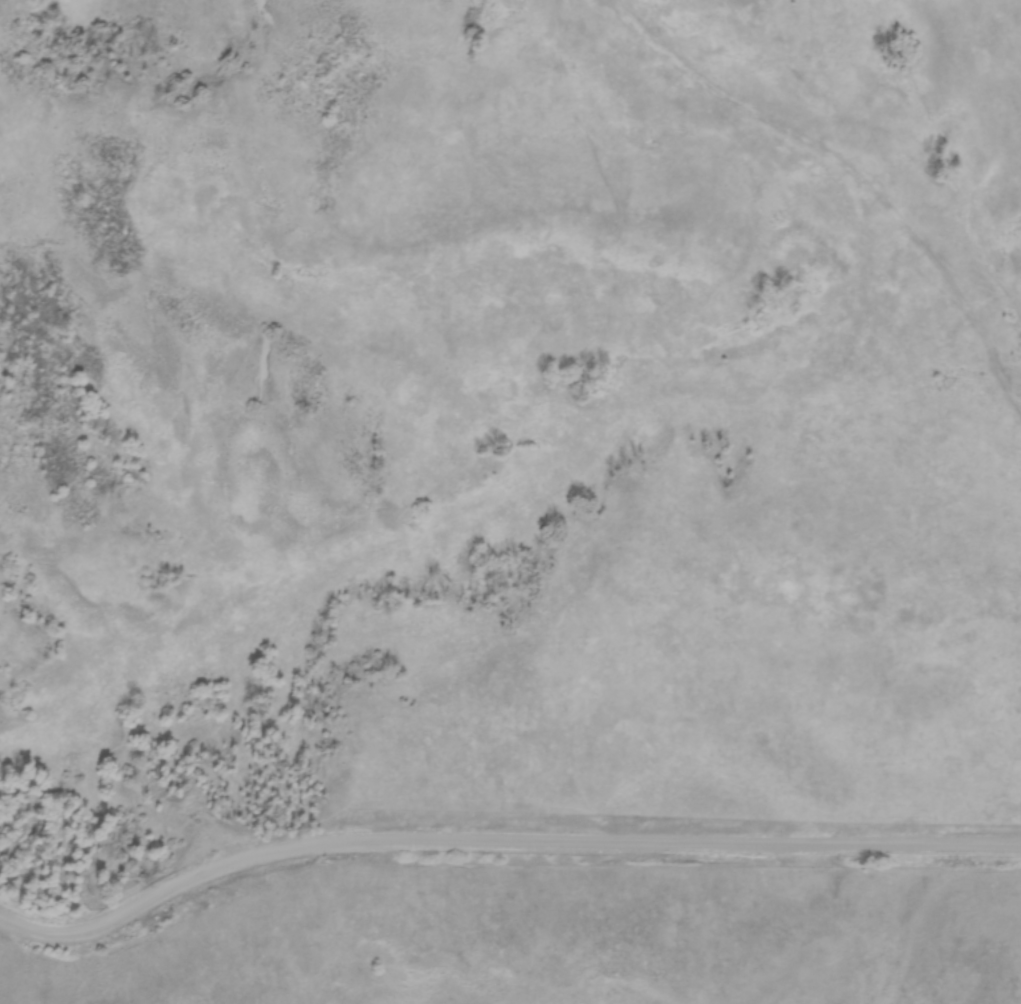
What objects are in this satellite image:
road: (498, 841)

